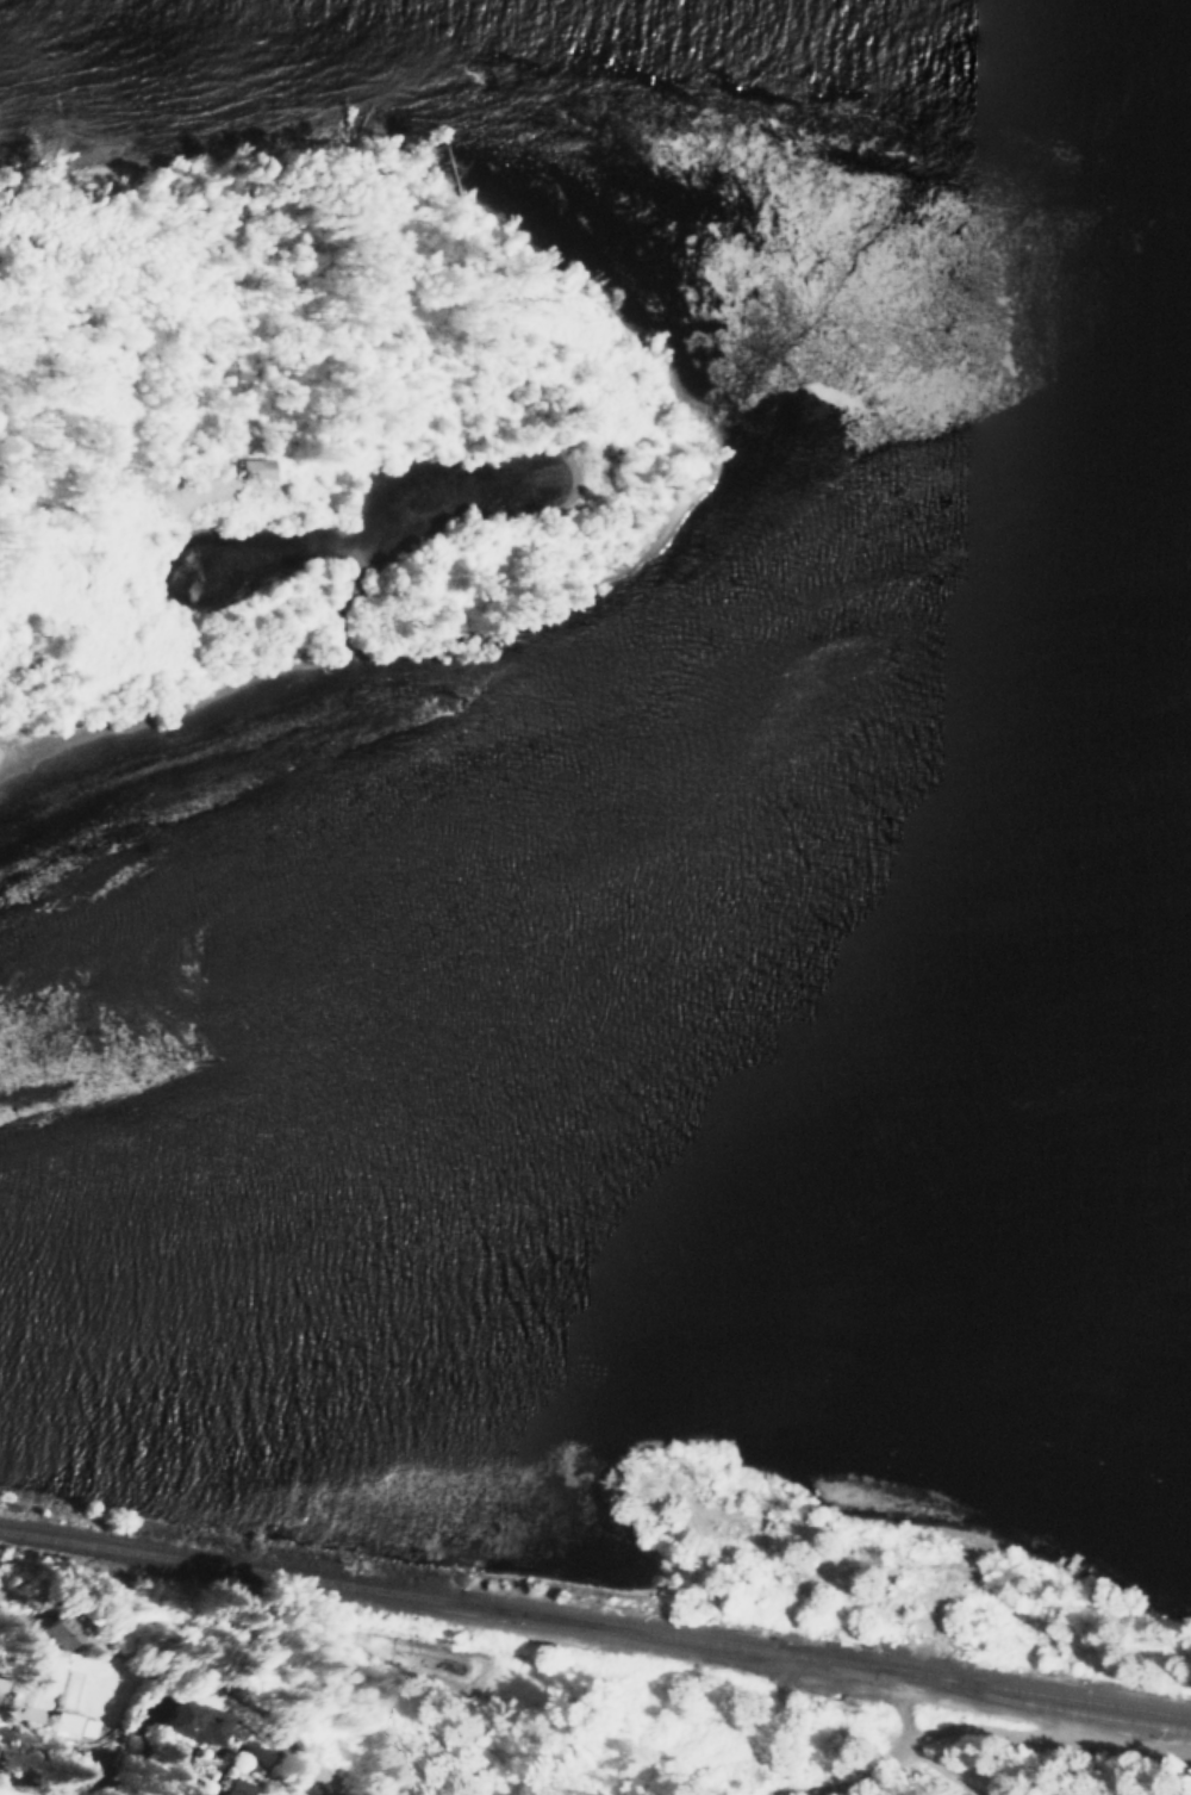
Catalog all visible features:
building: (257, 468)
railway: (594, 1623)
building: (51, 1632)
road: (925, 1656)
railway: (1010, 1698)
building: (195, 1720)
building: (74, 1723)
road: (992, 1732)
park: (661, 1749)
road: (93, 1757)
building: (236, 1787)
park: (87, 1791)

